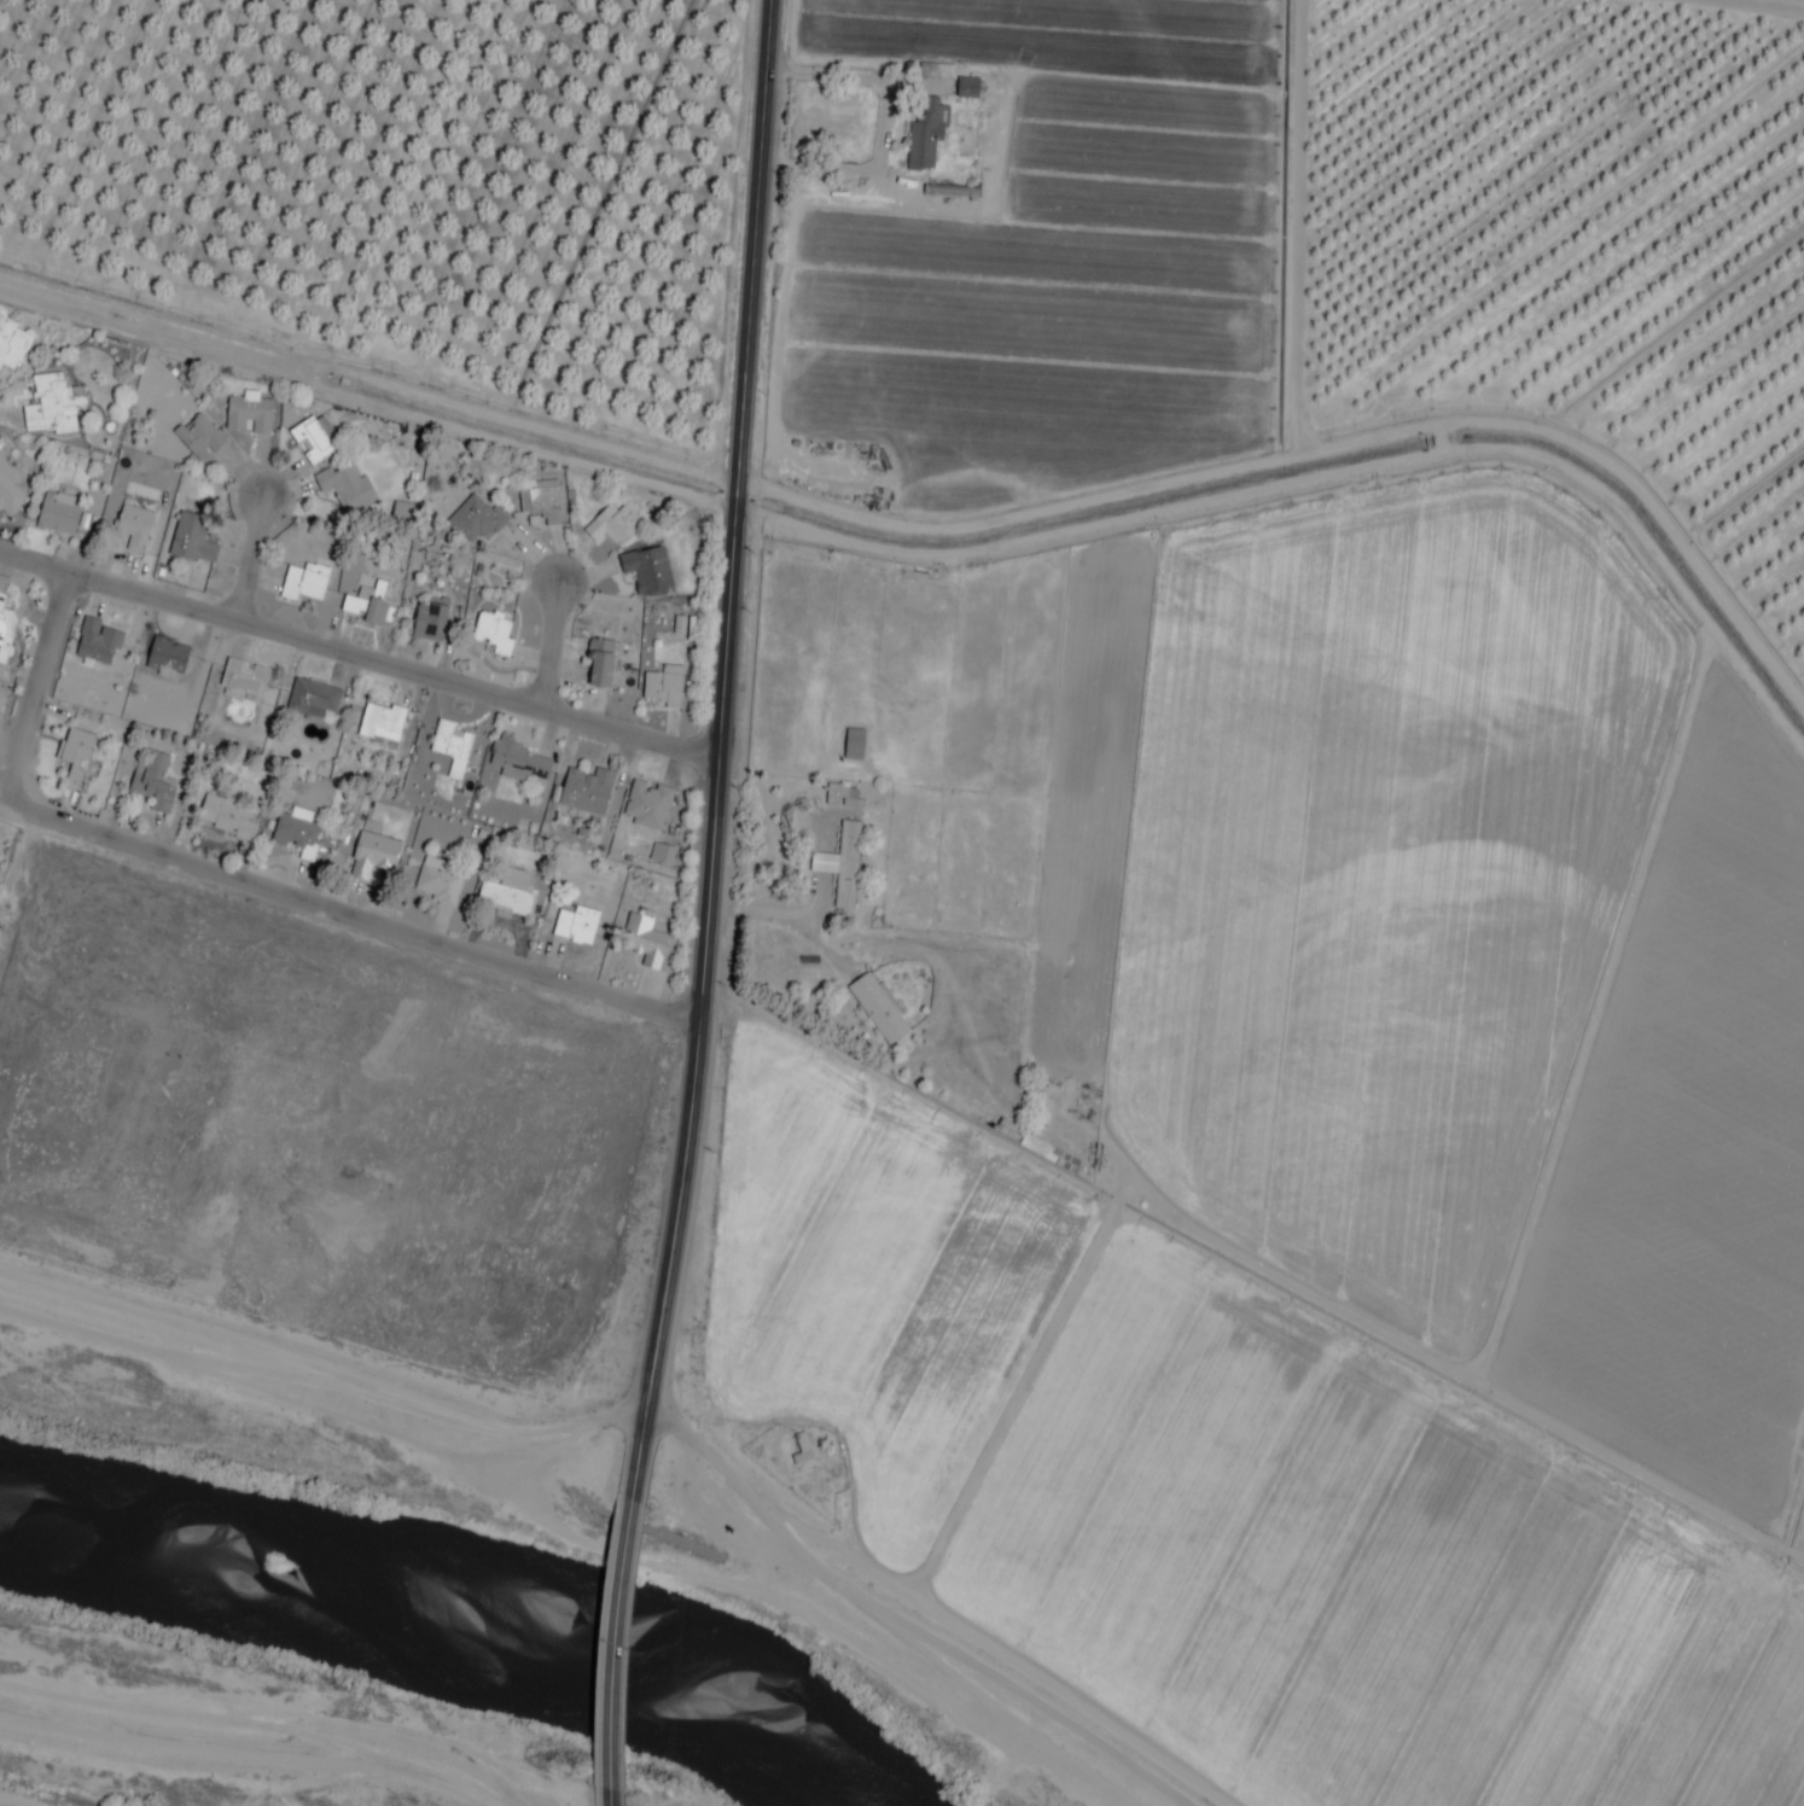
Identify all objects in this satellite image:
building: (937, 72)
building: (967, 88)
building: (924, 138)
building: (12, 346)
building: (50, 406)
building: (249, 415)
building: (199, 438)
building: (312, 443)
building: (345, 485)
building: (10, 493)
building: (541, 501)
building: (58, 513)
building: (478, 522)
building: (612, 526)
building: (133, 528)
building: (191, 541)
road: (250, 559)
building: (647, 571)
building: (303, 586)
building: (371, 611)
building: (430, 622)
building: (6, 629)
building: (494, 634)
building: (97, 645)
road: (551, 646)
road: (357, 654)
building: (167, 656)
building: (600, 664)
road: (1741, 668)
building: (243, 682)
building: (663, 687)
road: (35, 689)
building: (313, 699)
park: (6, 709)
building: (382, 723)
building: (854, 746)
building: (452, 748)
road: (715, 753)
building: (75, 756)
building: (522, 764)
building: (152, 781)
building: (587, 792)
building: (843, 797)
building: (647, 806)
building: (226, 818)
building: (297, 832)
building: (373, 856)
building: (842, 867)
crop: (1375, 875)
building: (437, 882)
building: (507, 895)
road: (347, 913)
building: (576, 926)
building: (644, 942)
building: (879, 1009)
crop: (308, 1119)
building: (1036, 1147)
crop: (1687, 1147)
crop: (873, 1277)
road: (645, 1410)
building: (802, 1452)
crop: (1800, 1536)
crop: (1360, 1577)
river: (446, 1631)
road: (610, 1644)
road: (244, 1759)
road: (606, 1796)
road: (10, 1802)

